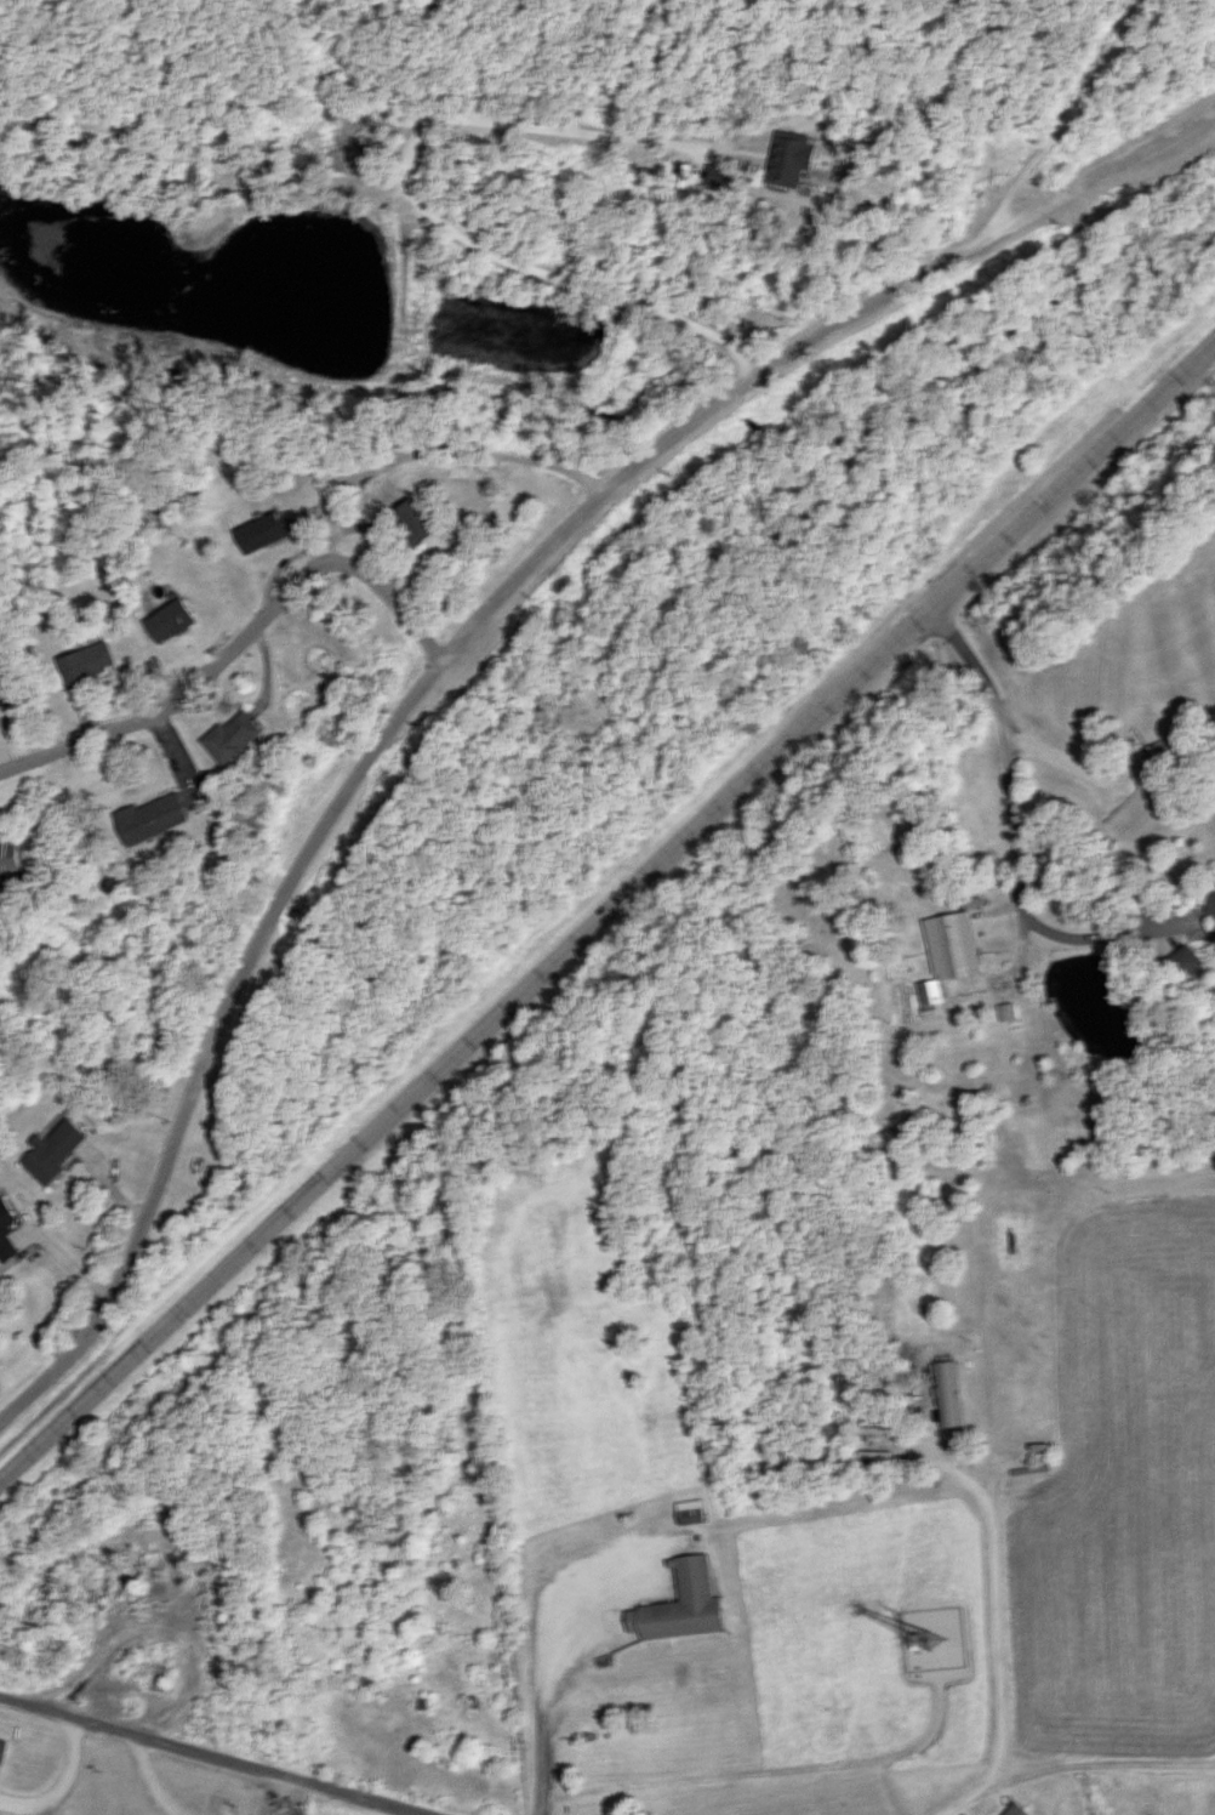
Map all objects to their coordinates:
building: (788, 158)
building: (717, 173)
road: (899, 291)
building: (410, 520)
building: (256, 533)
road: (518, 579)
road: (301, 590)
road: (395, 607)
building: (165, 620)
building: (80, 662)
building: (4, 690)
road: (1004, 729)
building: (229, 738)
building: (148, 818)
building: (11, 857)
road: (1021, 900)
building: (1210, 901)
road: (604, 912)
building: (945, 956)
building: (1185, 961)
building: (1006, 1011)
road: (216, 1046)
road: (738, 1109)
building: (49, 1151)
building: (5, 1231)
building: (948, 1393)
building: (689, 1510)
road: (997, 1570)
building: (679, 1603)
road: (164, 1609)
road: (552, 1695)
building: (1, 1748)
road: (210, 1757)
road: (67, 1788)
road: (977, 1798)
building: (1015, 1810)

